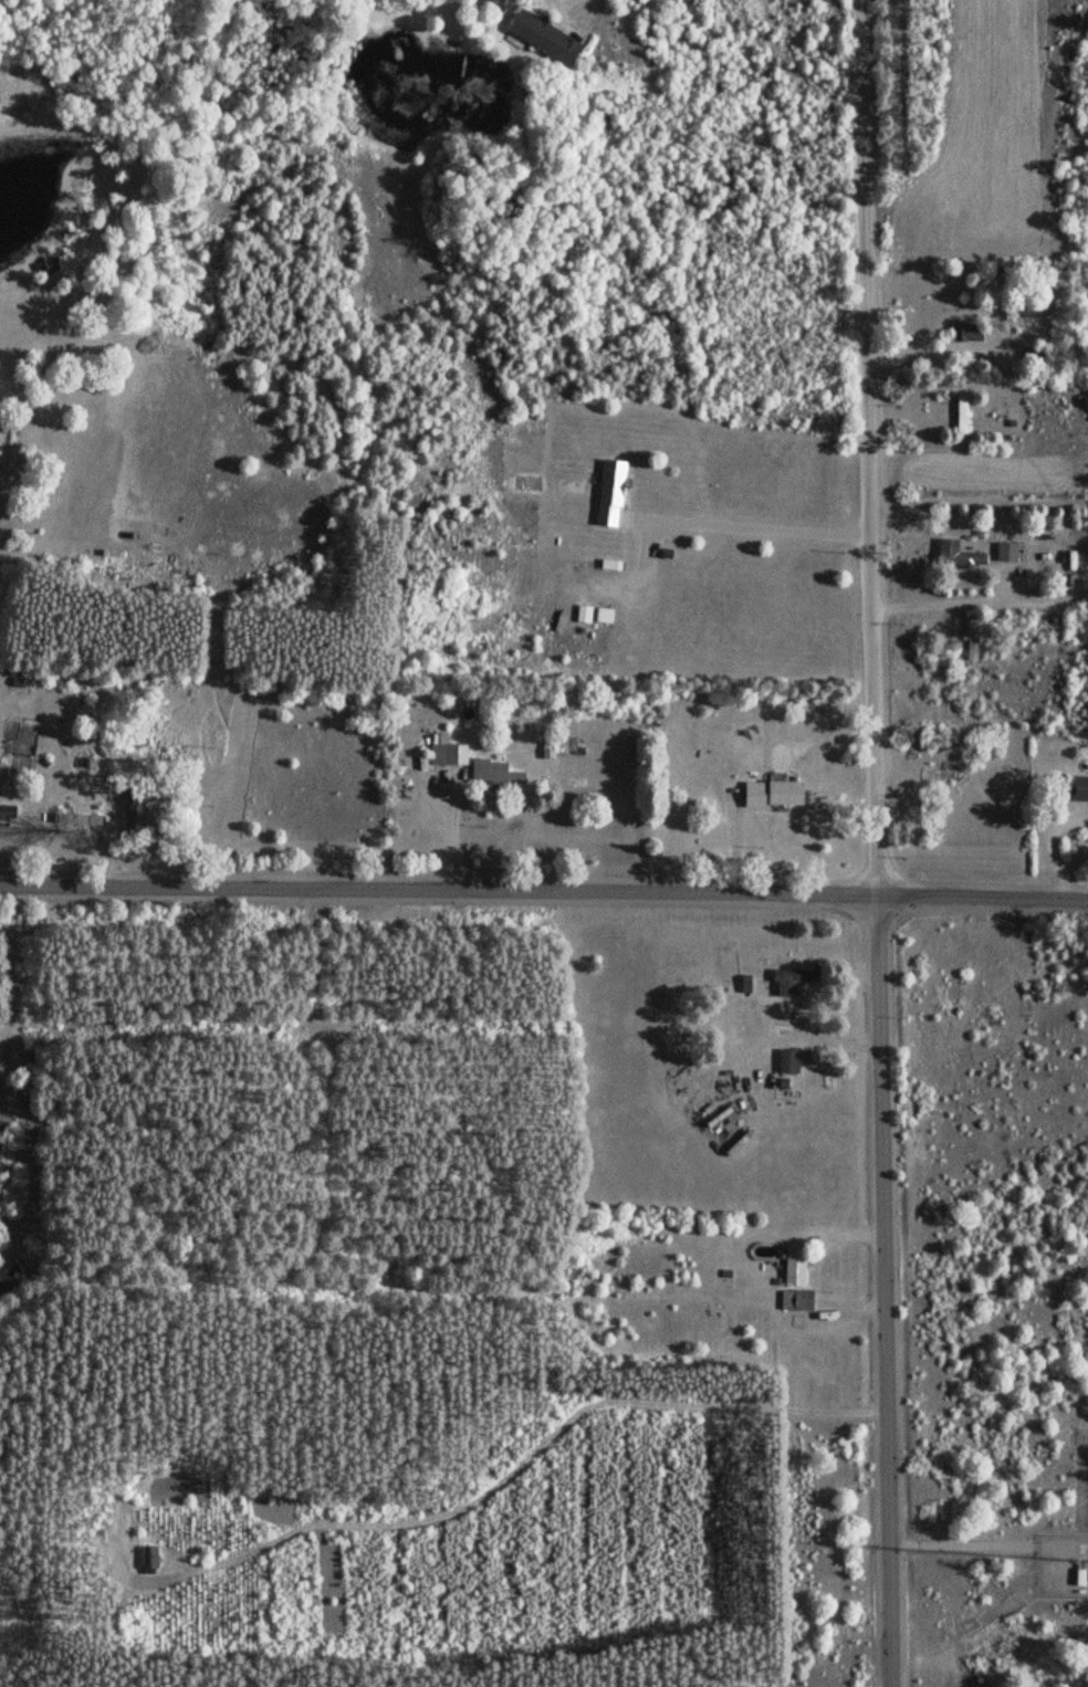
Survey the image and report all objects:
road: (588, 0)
building: (538, 35)
building: (963, 331)
building: (958, 415)
road: (867, 447)
building: (607, 493)
road: (747, 523)
building: (1003, 551)
building: (955, 553)
building: (969, 637)
building: (446, 754)
building: (491, 774)
building: (1077, 788)
building: (768, 794)
road: (544, 891)
building: (789, 981)
building: (950, 989)
building: (807, 1057)
building: (786, 1060)
building: (792, 1265)
road: (880, 1290)
road: (494, 1292)
building: (795, 1299)
building: (145, 1557)
building: (1076, 1578)

